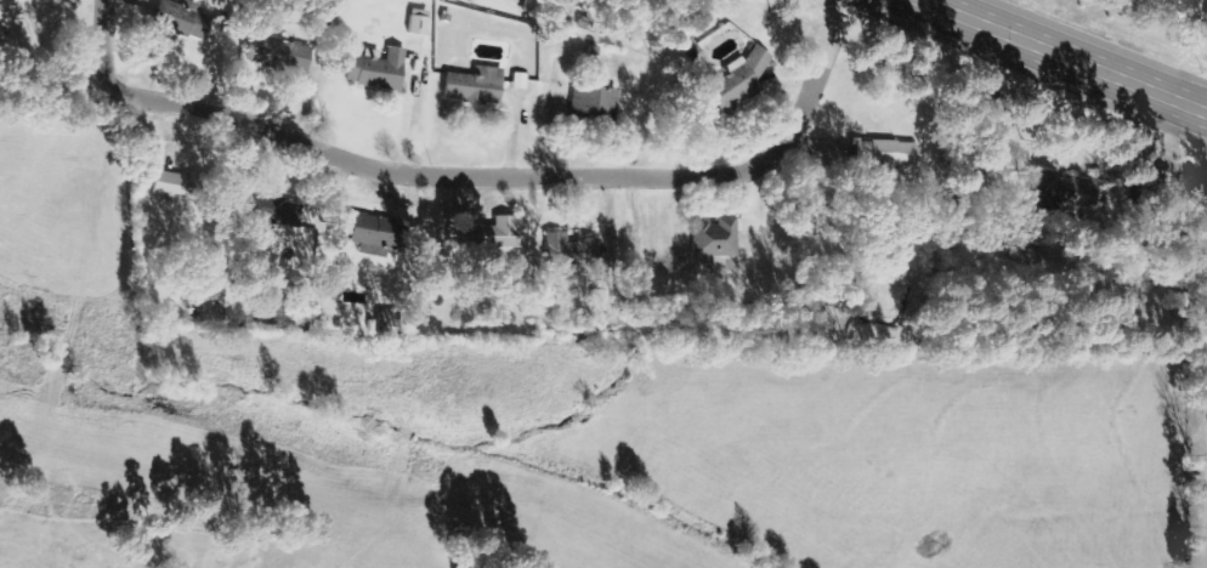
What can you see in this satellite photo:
building: (1206, 15)
building: (178, 22)
building: (415, 23)
building: (273, 55)
road: (1061, 56)
building: (373, 69)
building: (736, 80)
building: (517, 81)
building: (471, 87)
building: (590, 103)
building: (880, 155)
road: (478, 175)
building: (168, 186)
building: (1059, 193)
building: (272, 210)
building: (483, 234)
building: (370, 235)
building: (713, 239)
building: (566, 251)

